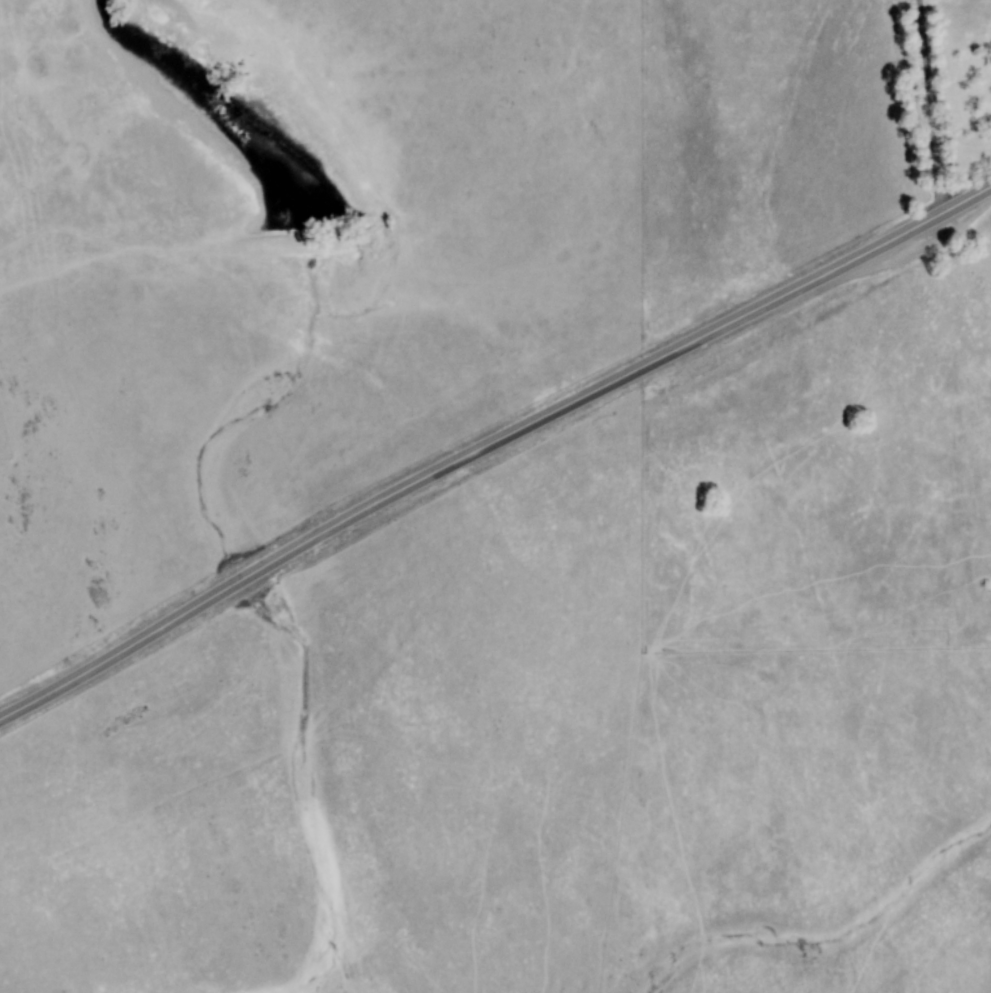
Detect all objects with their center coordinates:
road: (922, 106)
road: (966, 433)
road: (494, 450)

